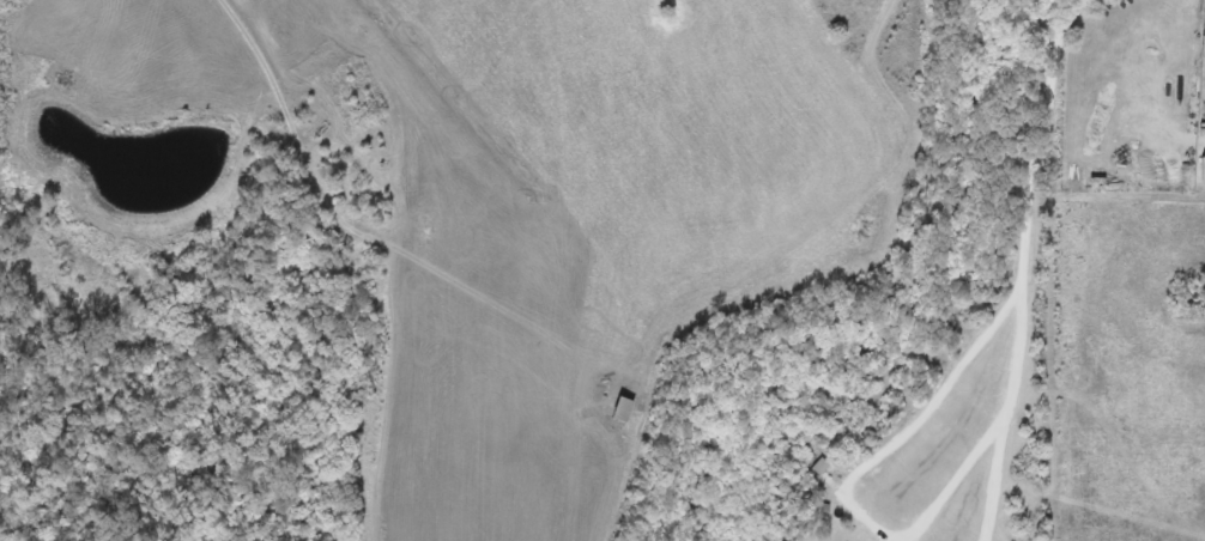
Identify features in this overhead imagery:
building: (1201, 170)
road: (1028, 263)

